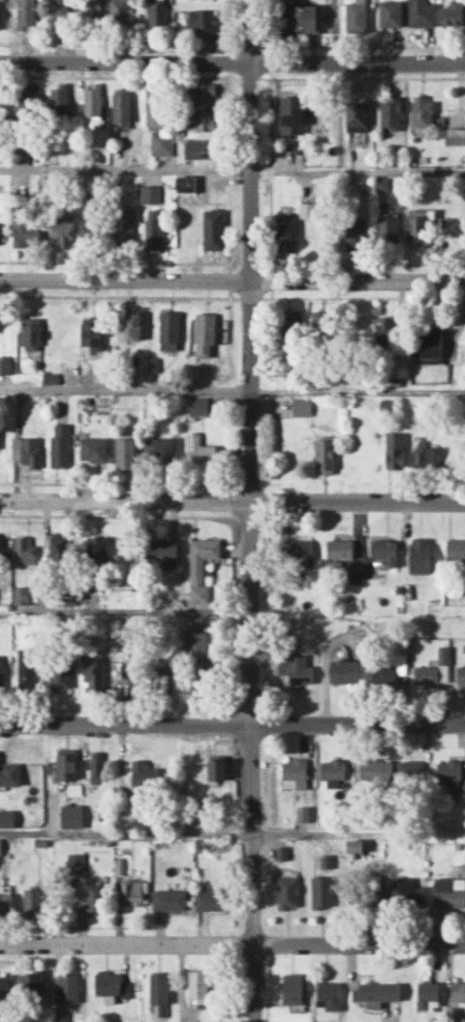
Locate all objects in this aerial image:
building: (390, 13)
building: (421, 13)
building: (453, 13)
building: (60, 14)
building: (121, 14)
building: (26, 15)
building: (93, 15)
building: (158, 16)
building: (356, 16)
building: (301, 18)
building: (201, 21)
road: (232, 62)
building: (200, 94)
building: (58, 101)
building: (27, 102)
building: (91, 104)
building: (121, 105)
building: (3, 107)
building: (159, 108)
building: (422, 110)
building: (391, 111)
building: (293, 115)
building: (355, 116)
building: (202, 121)
building: (456, 136)
building: (1, 140)
building: (161, 143)
building: (199, 150)
road: (232, 171)
building: (186, 183)
building: (149, 194)
building: (308, 210)
building: (26, 227)
building: (389, 228)
building: (419, 228)
building: (214, 229)
building: (60, 230)
building: (123, 232)
building: (92, 233)
building: (152, 236)
building: (288, 236)
road: (232, 279)
building: (292, 327)
building: (324, 328)
building: (170, 331)
building: (387, 331)
building: (31, 334)
building: (92, 335)
building: (207, 335)
building: (429, 343)
building: (3, 366)
road: (124, 387)
road: (357, 388)
building: (198, 406)
building: (302, 406)
building: (62, 445)
building: (95, 449)
building: (396, 450)
building: (28, 451)
building: (162, 451)
building: (200, 451)
building: (127, 454)
building: (326, 456)
building: (428, 458)
road: (232, 500)
road: (249, 511)
building: (3, 548)
building: (59, 548)
building: (26, 549)
building: (300, 549)
building: (340, 549)
building: (456, 549)
building: (99, 551)
building: (386, 551)
building: (163, 553)
building: (422, 556)
building: (201, 566)
building: (22, 597)
road: (125, 611)
building: (199, 656)
building: (296, 669)
building: (433, 670)
building: (345, 671)
building: (2, 673)
building: (26, 674)
building: (387, 674)
building: (95, 675)
building: (460, 675)
building: (61, 677)
building: (163, 680)
road: (232, 723)
building: (97, 764)
building: (67, 765)
building: (219, 767)
building: (332, 769)
building: (448, 769)
building: (375, 770)
building: (409, 770)
building: (10, 772)
building: (146, 772)
building: (294, 773)
building: (72, 815)
building: (7, 818)
road: (232, 830)
building: (0, 845)
building: (355, 845)
building: (75, 861)
building: (449, 891)
building: (132, 892)
building: (408, 892)
building: (365, 894)
building: (95, 898)
building: (169, 899)
building: (212, 899)
building: (32, 901)
building: (6, 902)
road: (232, 942)
building: (108, 983)
building: (198, 985)
building: (32, 987)
building: (67, 987)
building: (158, 988)
building: (294, 988)
building: (4, 990)
building: (457, 991)
building: (376, 992)
building: (330, 994)
building: (428, 995)

